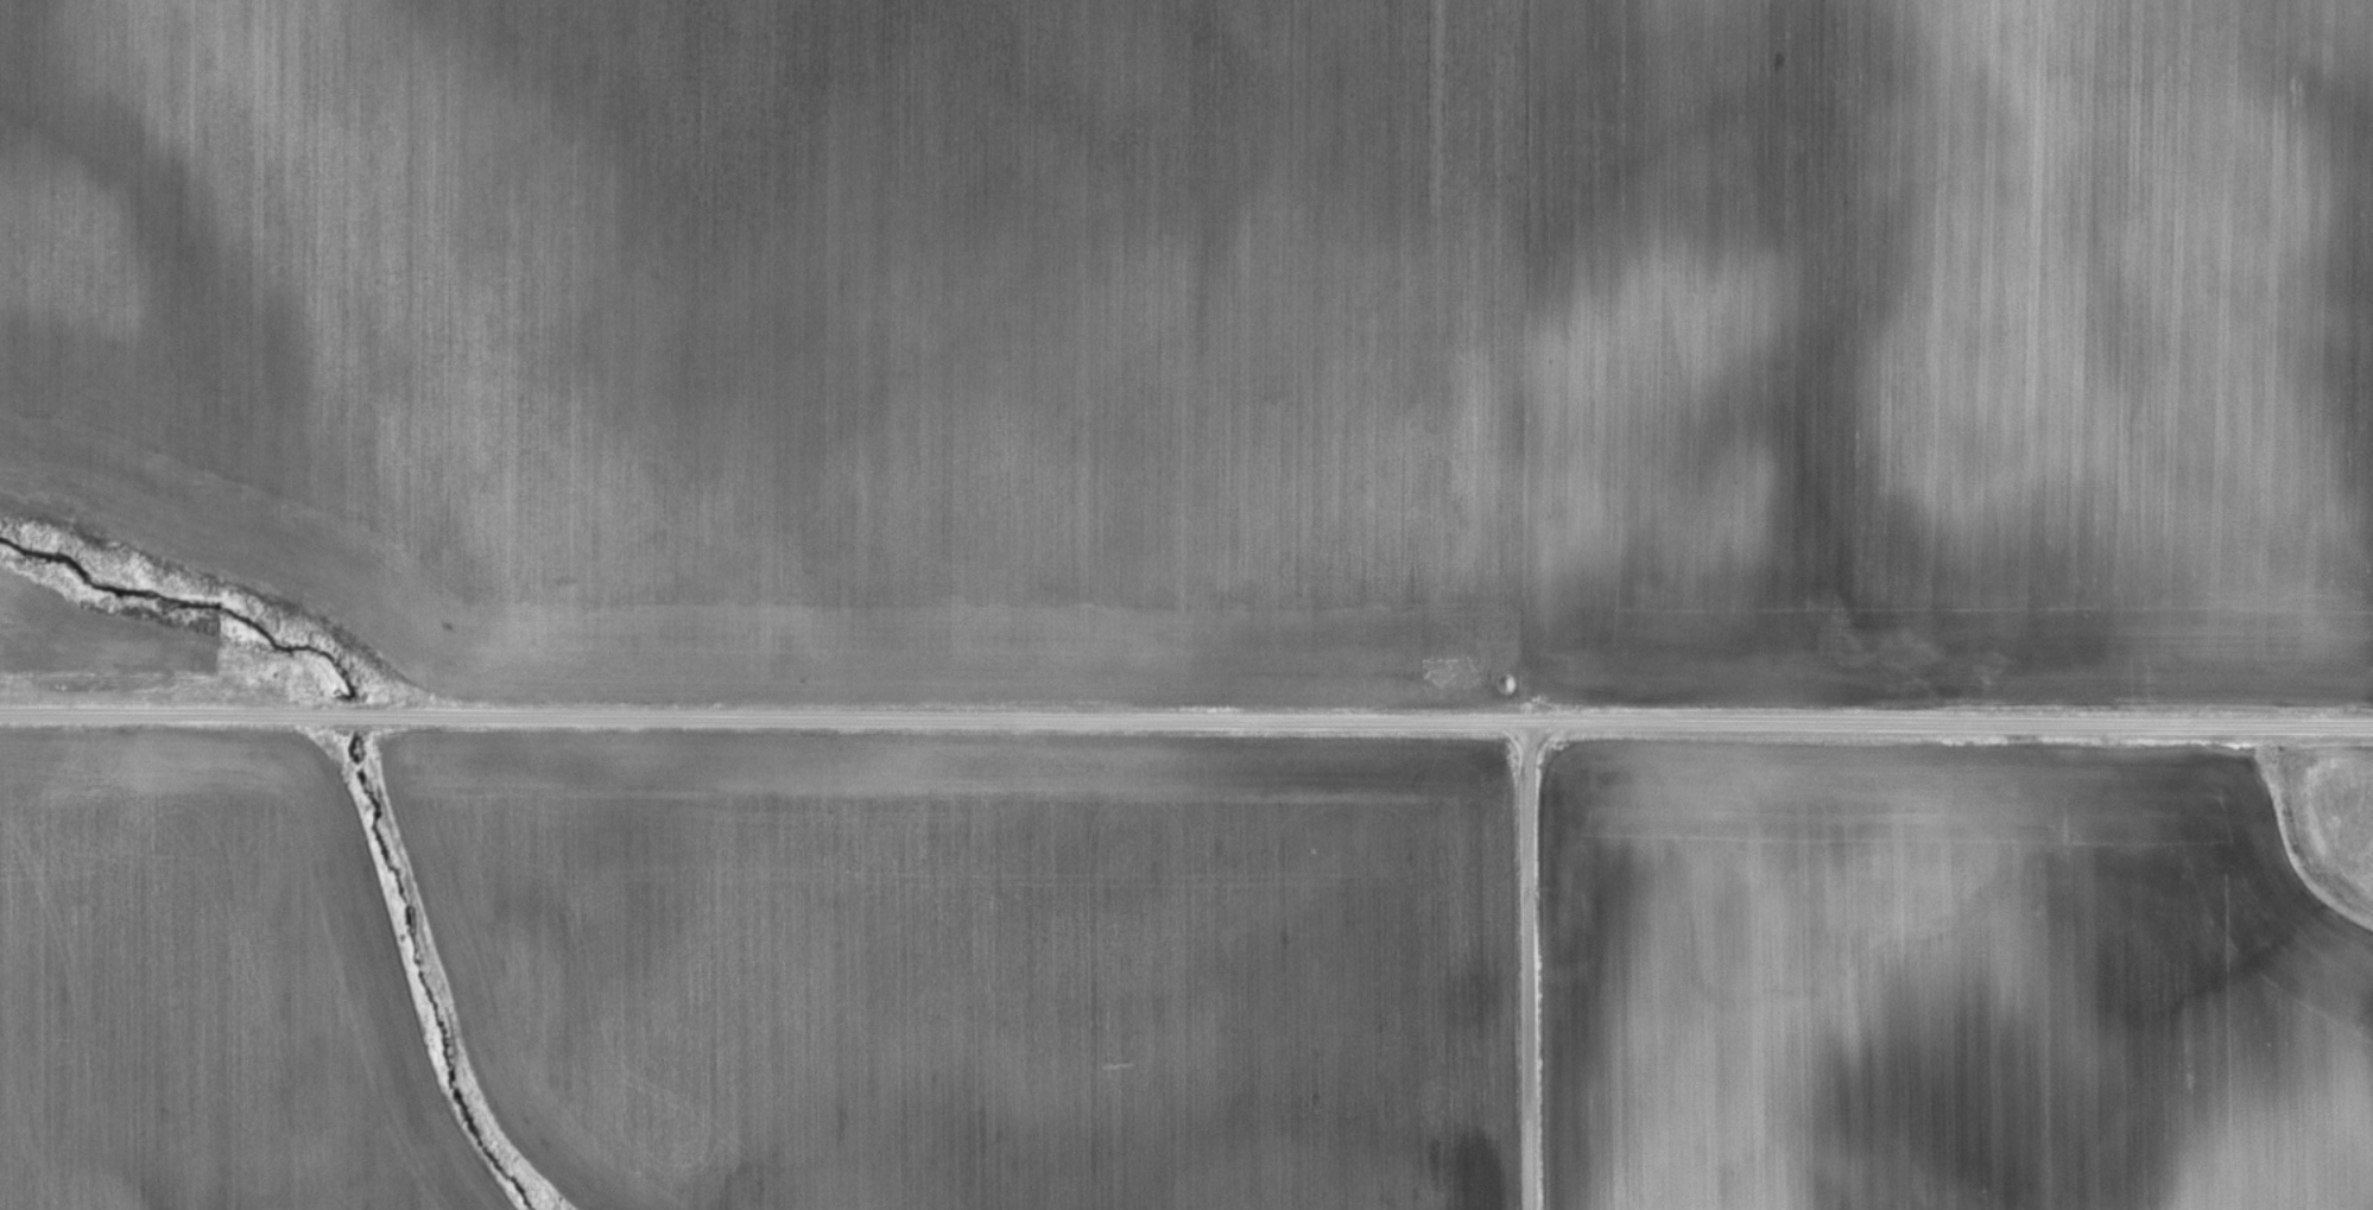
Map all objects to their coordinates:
road: (1186, 717)
road: (1527, 964)

